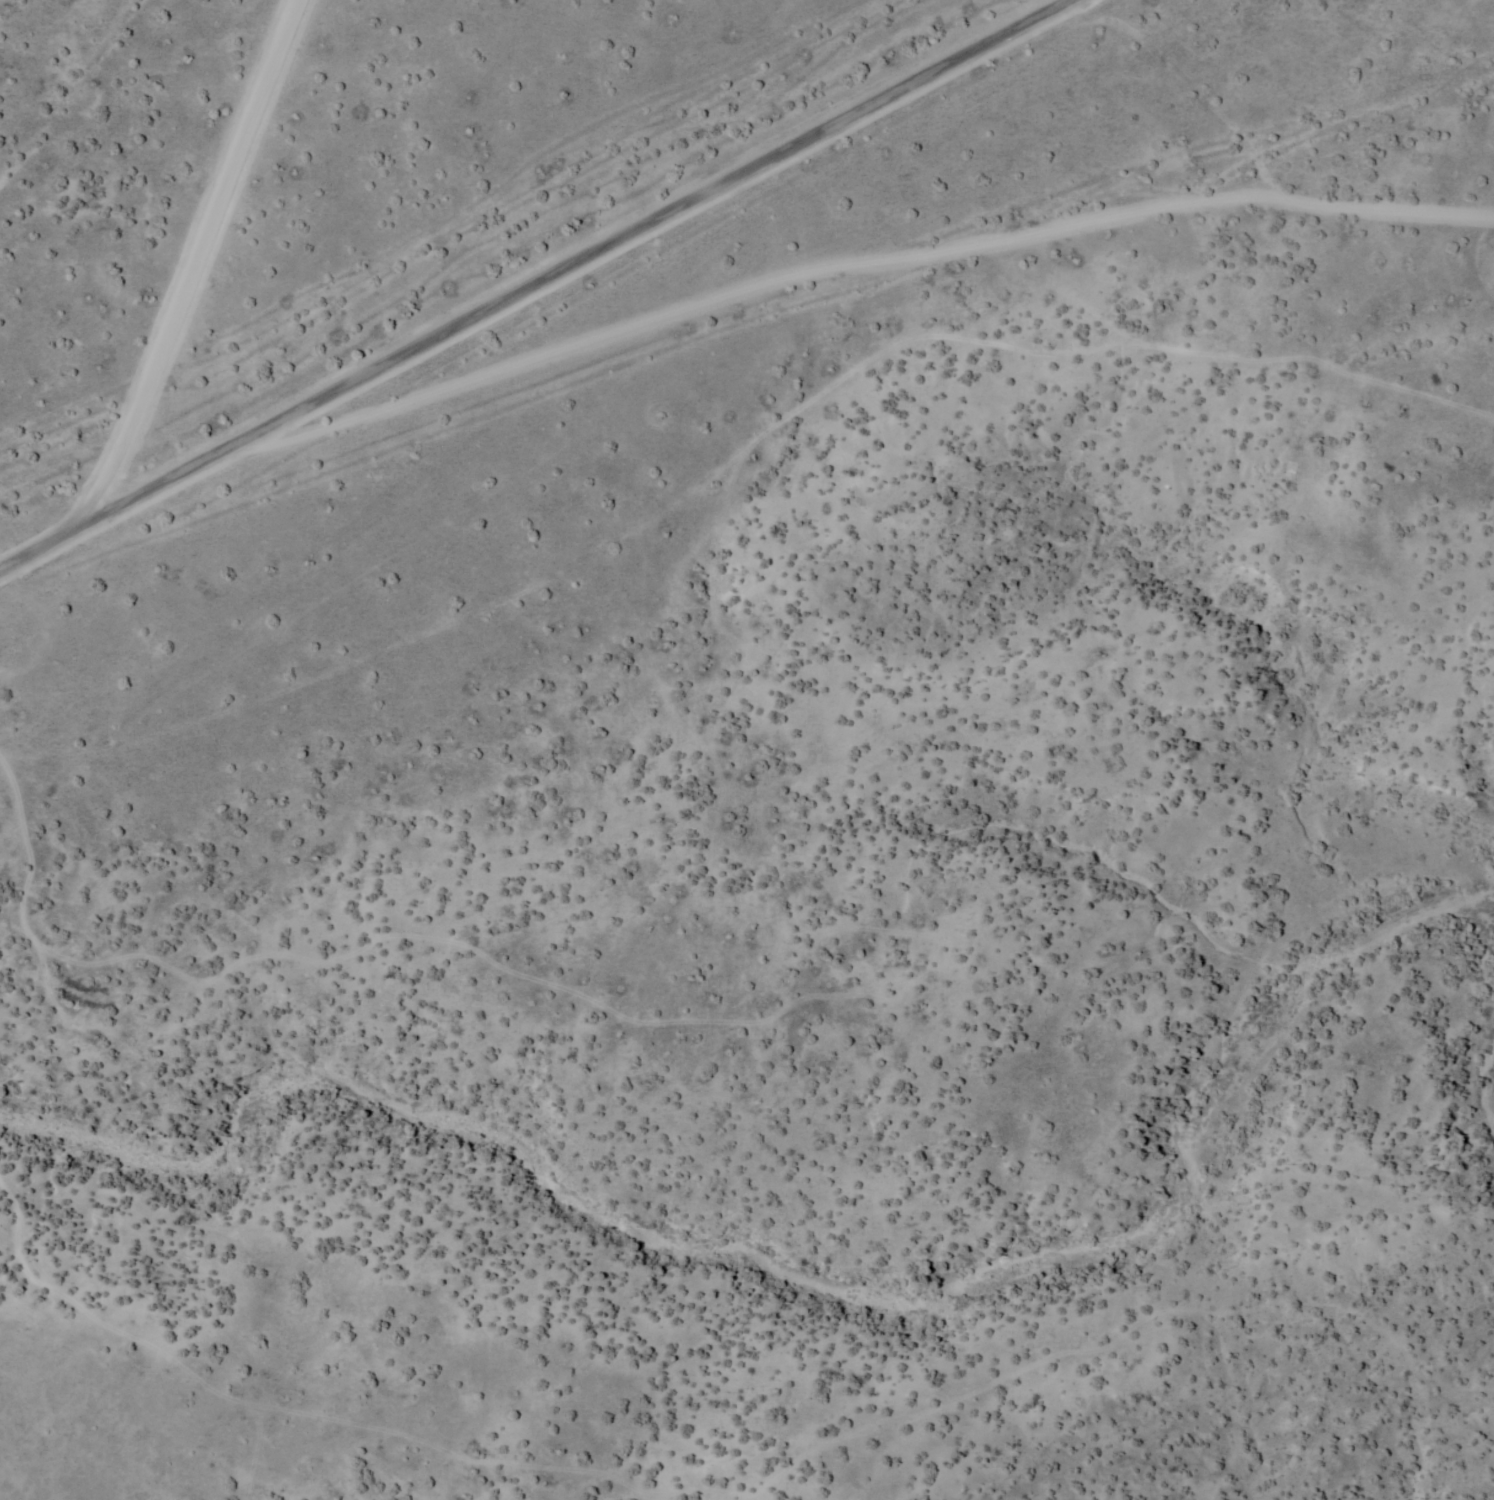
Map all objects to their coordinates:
road: (190, 245)
road: (521, 269)

